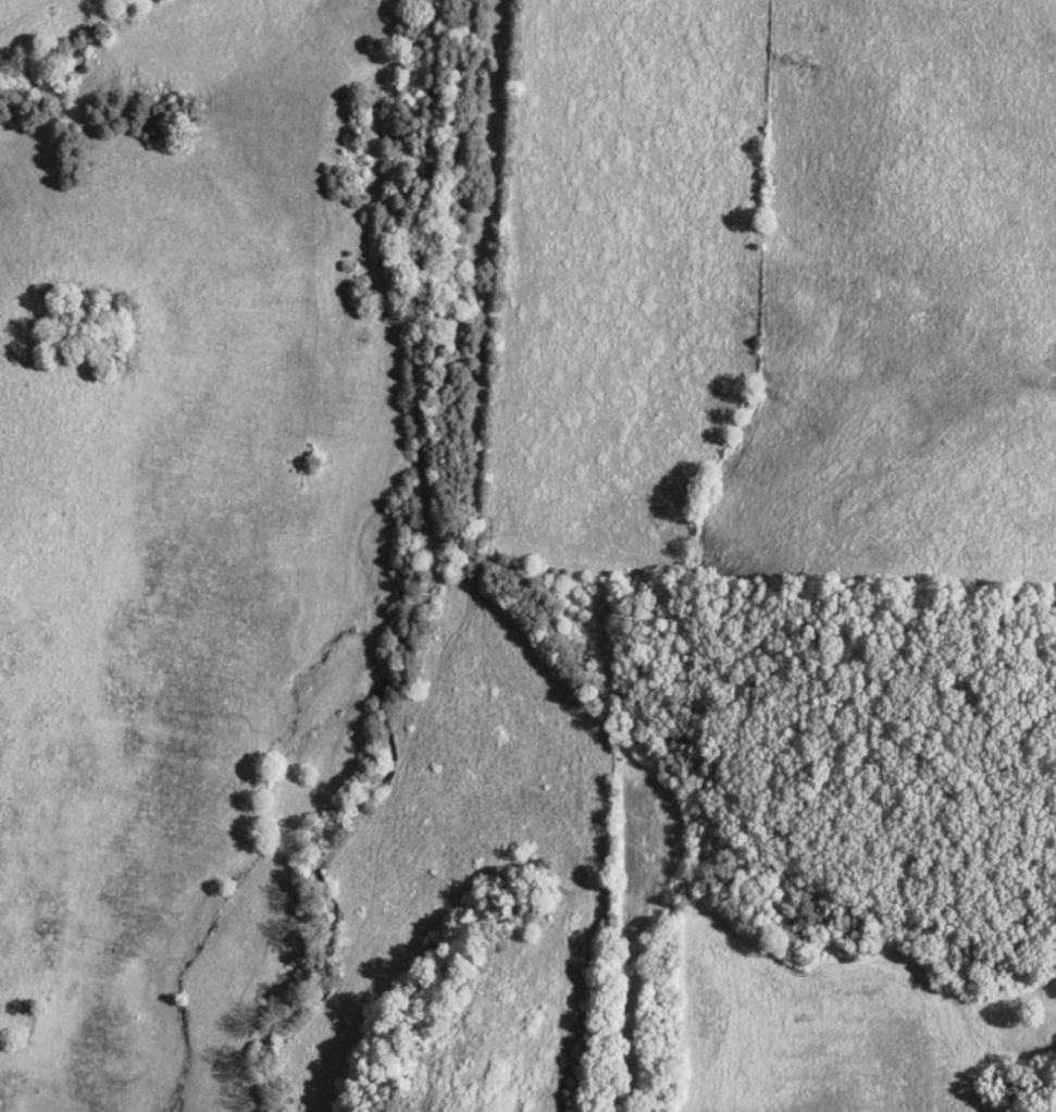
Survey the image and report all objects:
park: (78, 332)

